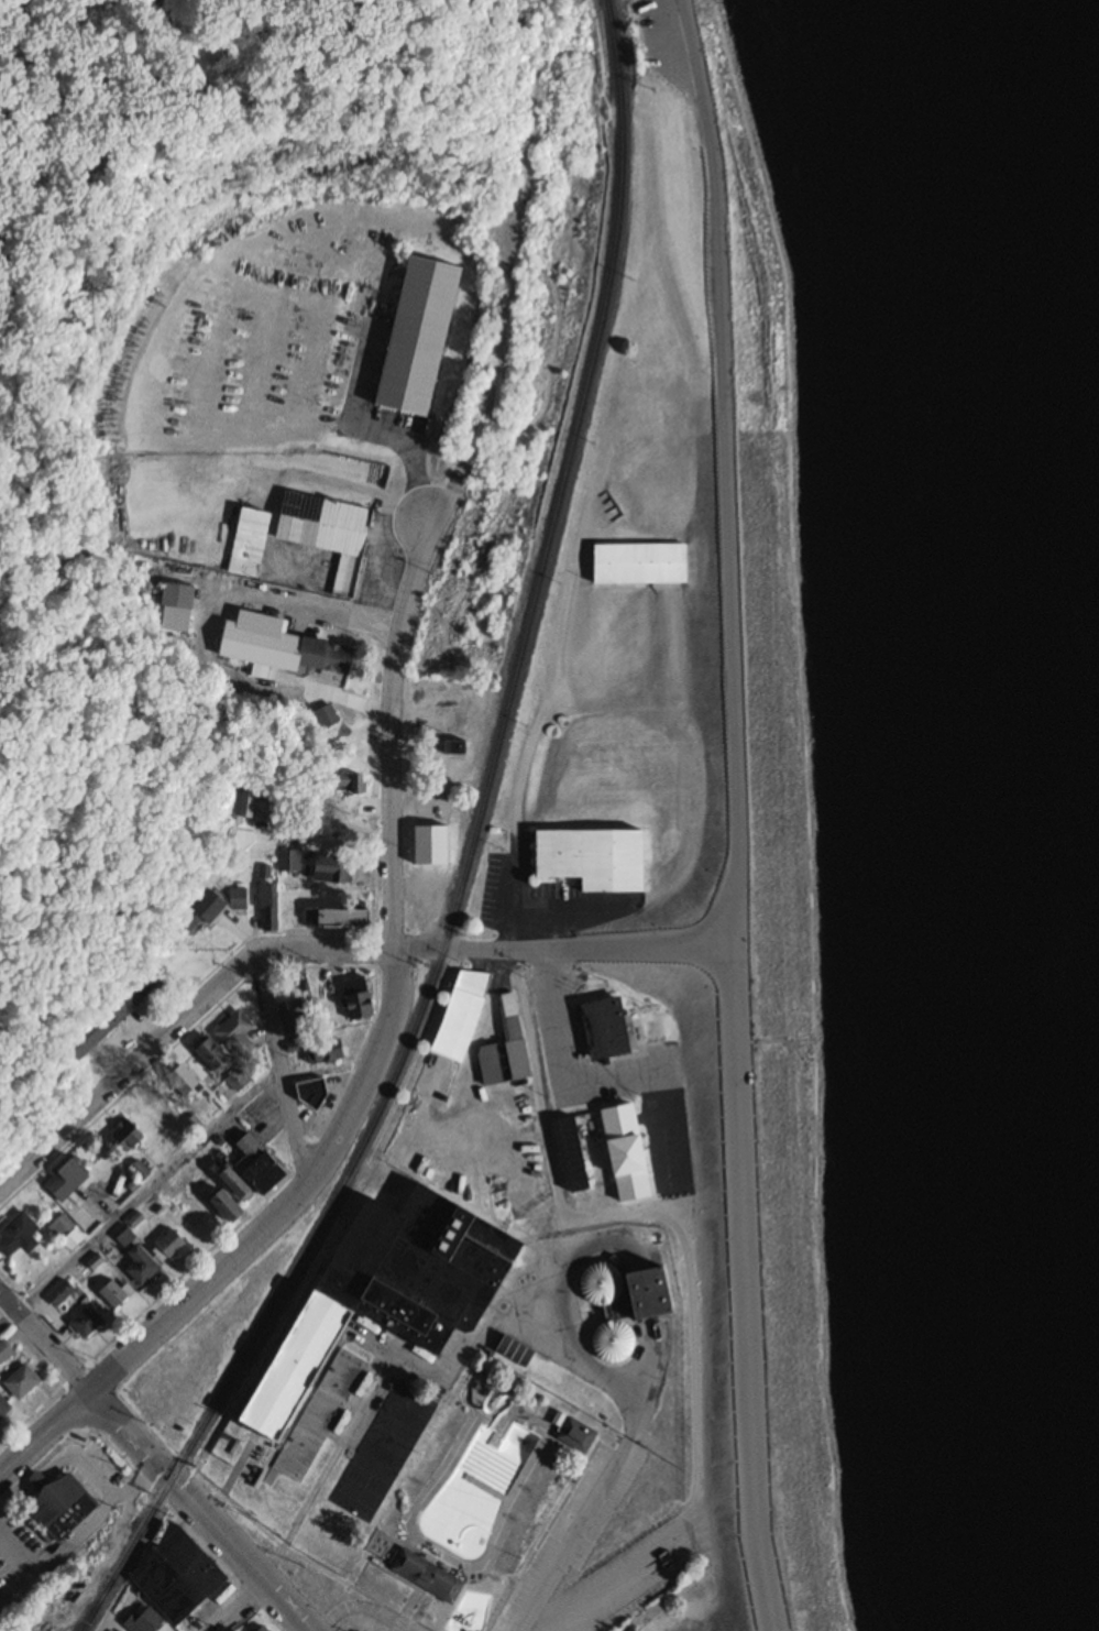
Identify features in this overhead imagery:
parking lot: (667, 42)
road: (21, 262)
river: (1011, 306)
building: (89, 314)
road: (45, 335)
building: (417, 335)
road: (492, 384)
park: (64, 489)
building: (323, 527)
building: (245, 540)
building: (639, 562)
road: (305, 604)
building: (175, 606)
building: (283, 647)
building: (328, 718)
road: (392, 732)
building: (458, 747)
building: (349, 782)
building: (245, 806)
road: (818, 808)
road: (751, 813)
building: (429, 842)
railway: (470, 853)
building: (596, 857)
building: (289, 858)
building: (334, 869)
building: (267, 898)
building: (213, 908)
building: (341, 918)
road: (571, 948)
building: (138, 995)
building: (360, 998)
building: (462, 1015)
road: (177, 1021)
building: (608, 1027)
building: (238, 1036)
building: (90, 1040)
building: (507, 1048)
building: (329, 1052)
building: (216, 1057)
road: (562, 1068)
road: (278, 1072)
building: (187, 1081)
building: (239, 1081)
building: (310, 1094)
park: (24, 1114)
building: (130, 1135)
building: (629, 1153)
building: (575, 1156)
building: (262, 1165)
building: (67, 1170)
building: (140, 1171)
building: (240, 1184)
building: (98, 1195)
road: (139, 1198)
road: (292, 1201)
building: (229, 1206)
building: (63, 1228)
building: (18, 1234)
building: (124, 1235)
building: (171, 1245)
road: (691, 1267)
building: (144, 1270)
building: (602, 1284)
building: (659, 1293)
building: (62, 1294)
building: (116, 1295)
building: (386, 1309)
building: (88, 1323)
building: (615, 1342)
road: (46, 1343)
building: (4, 1353)
building: (23, 1383)
road: (633, 1394)
road: (366, 1395)
building: (4, 1409)
building: (404, 1420)
building: (579, 1436)
road: (46, 1438)
road: (86, 1462)
road: (230, 1478)
building: (353, 1501)
building: (65, 1508)
road: (202, 1512)
road: (80, 1534)
road: (18, 1553)
building: (436, 1561)
building: (428, 1576)
building: (178, 1577)
railway: (96, 1606)
road: (237, 1606)
road: (359, 1607)
building: (144, 1619)
building: (263, 1629)

